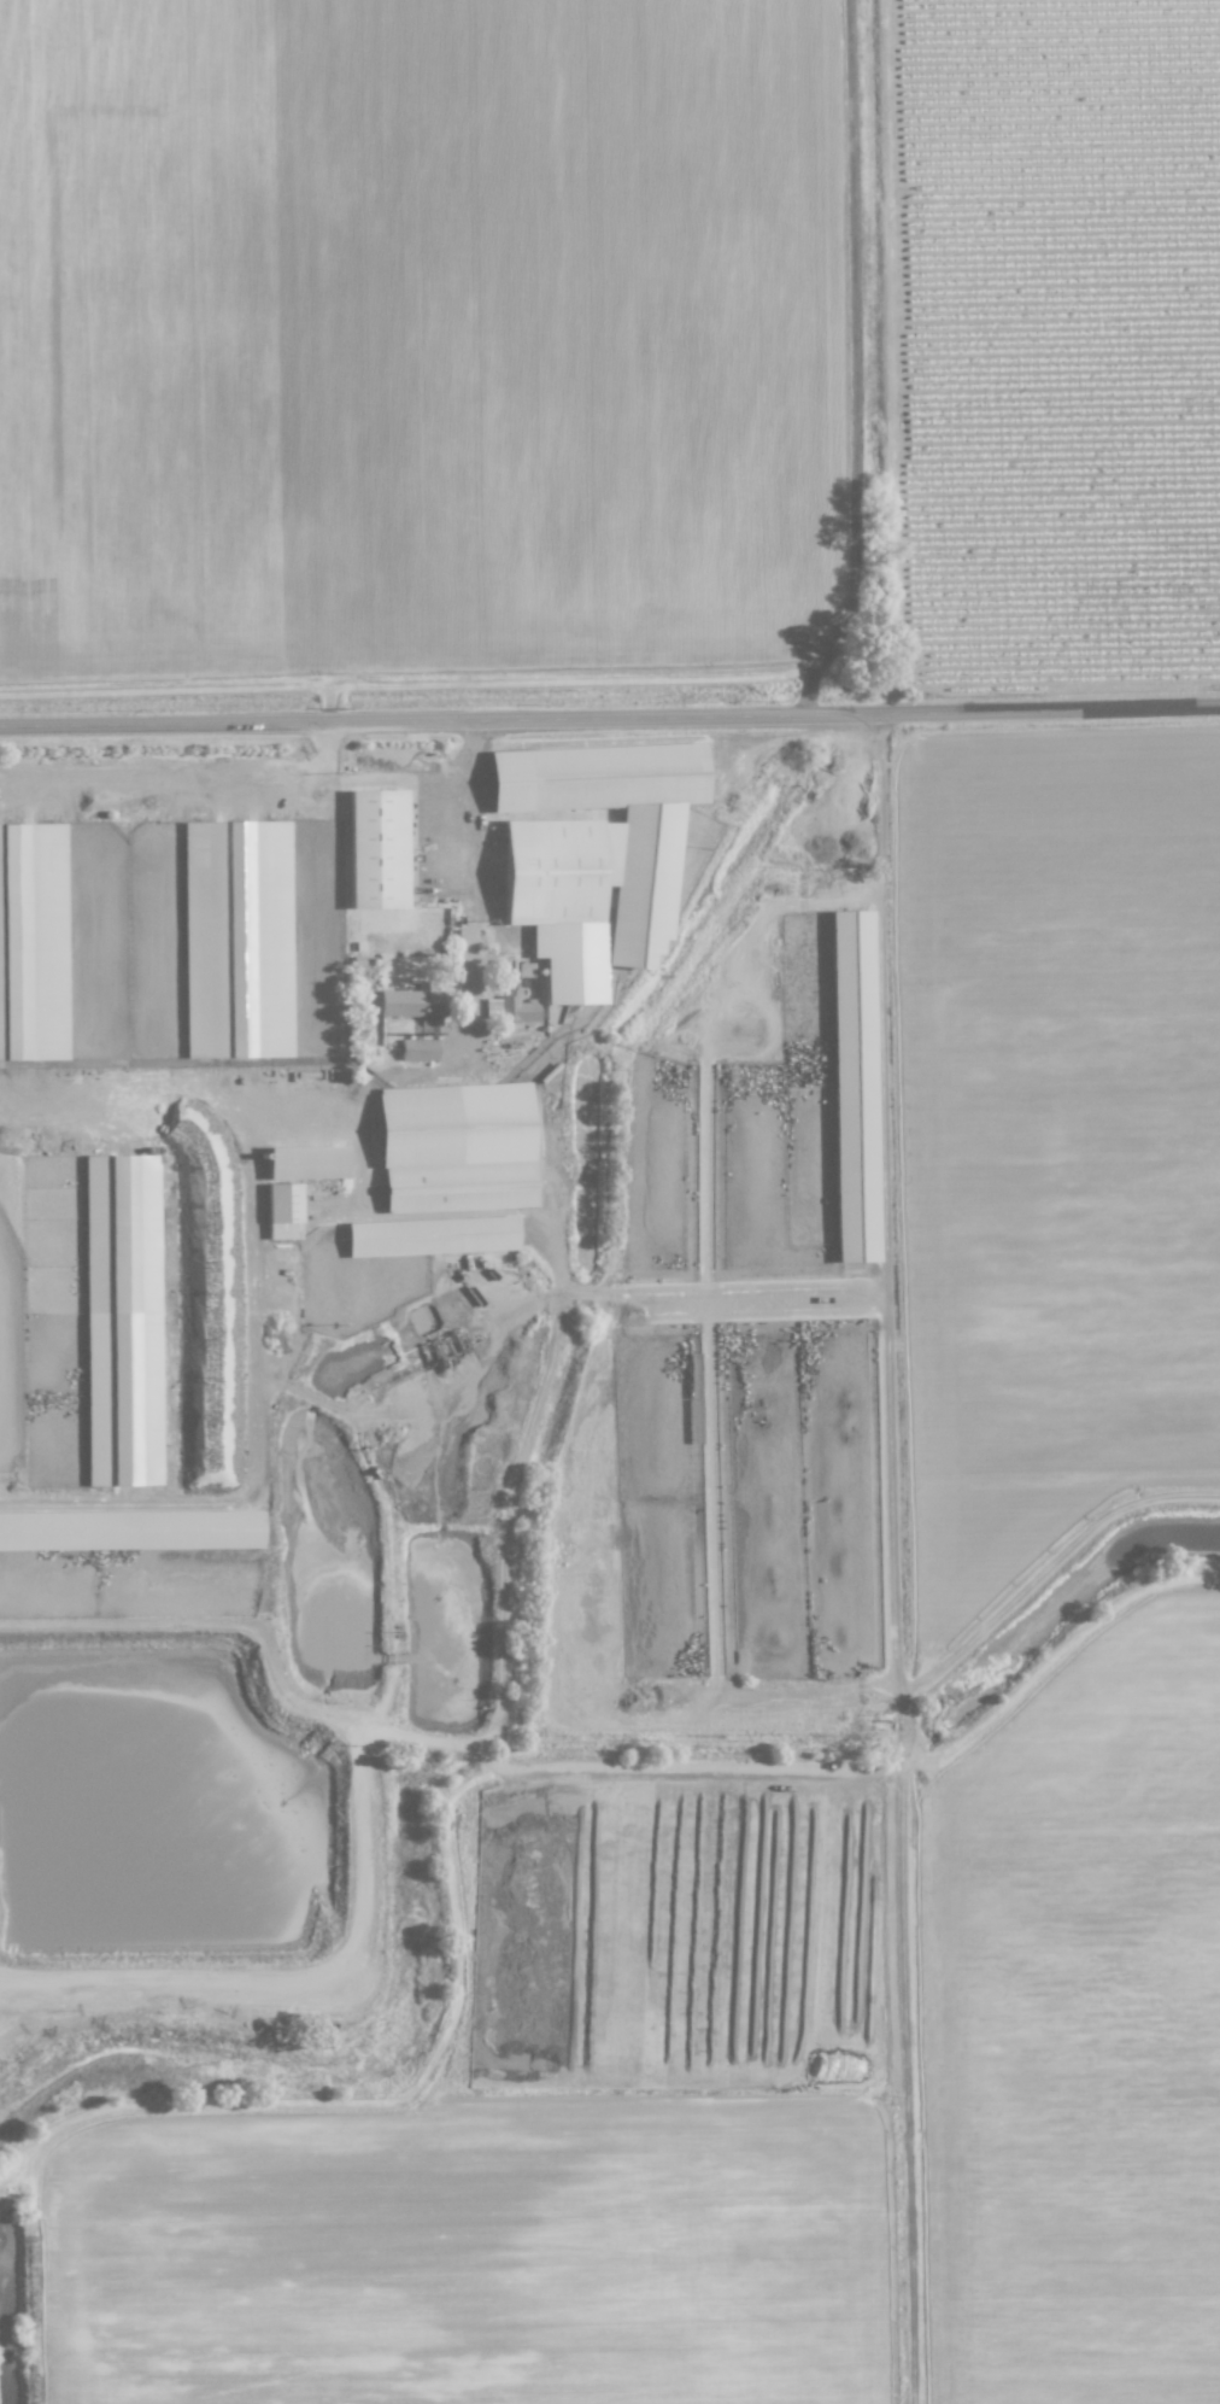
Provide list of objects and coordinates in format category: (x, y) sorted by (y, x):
road: (610, 718)
road: (188, 783)
building: (376, 849)
road: (471, 881)
building: (235, 940)
building: (31, 942)
building: (524, 970)
building: (412, 1006)
building: (515, 1007)
building: (417, 1051)
building: (852, 1087)
building: (454, 1148)
building: (305, 1163)
building: (282, 1211)
building: (430, 1236)
building: (121, 1321)
building: (129, 1531)
road: (898, 1560)

